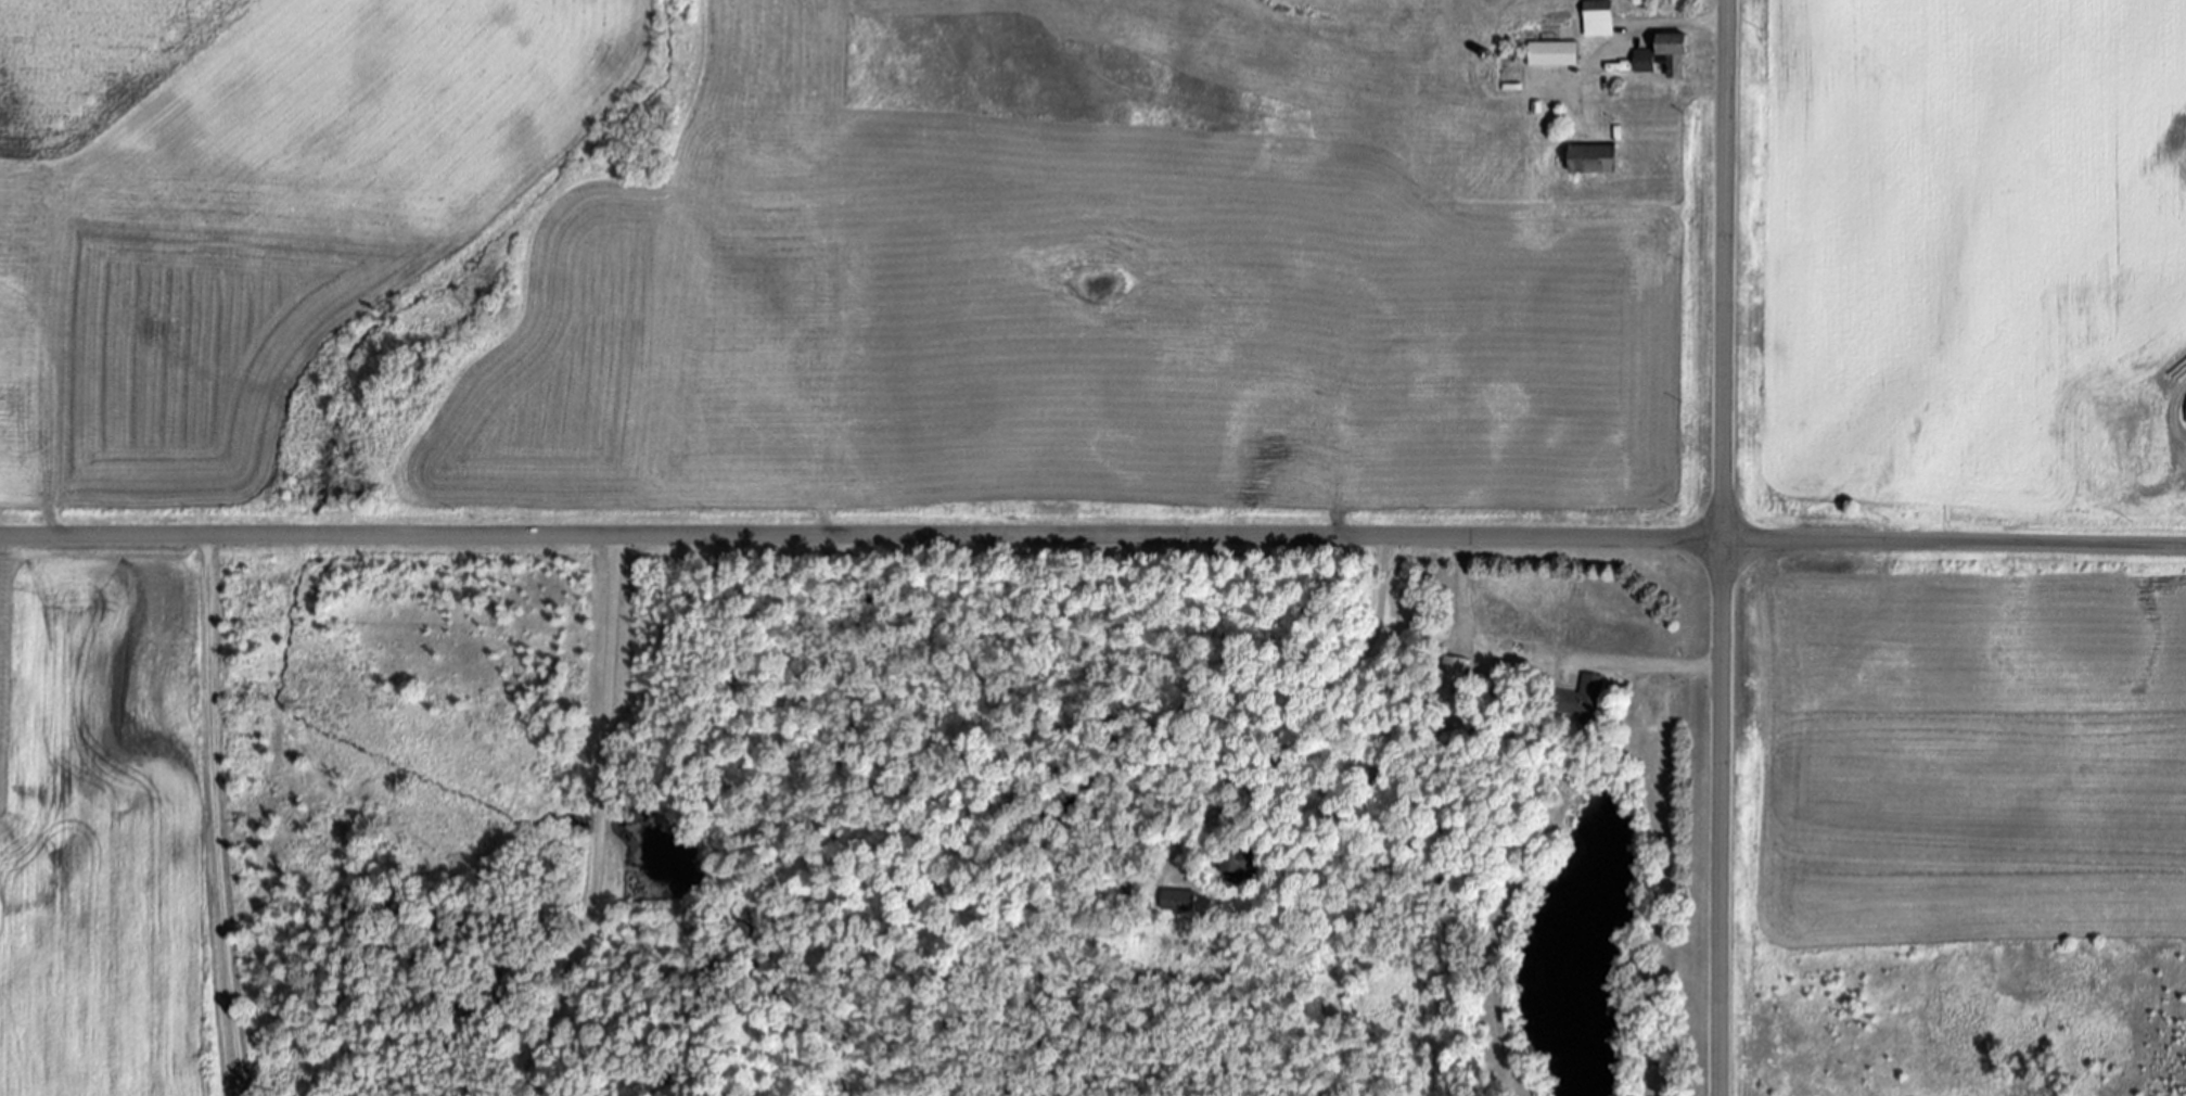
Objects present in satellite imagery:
building: (1600, 18)
road: (1636, 31)
building: (1678, 52)
building: (1555, 53)
building: (1647, 61)
building: (1597, 160)
road: (1092, 536)
road: (1721, 547)
road: (1456, 585)
road: (1652, 662)
building: (1461, 674)
building: (1581, 697)
road: (1338, 704)
road: (214, 807)
road: (598, 819)
building: (1239, 858)
building: (1179, 900)
road: (238, 1087)
road: (241, 1087)

